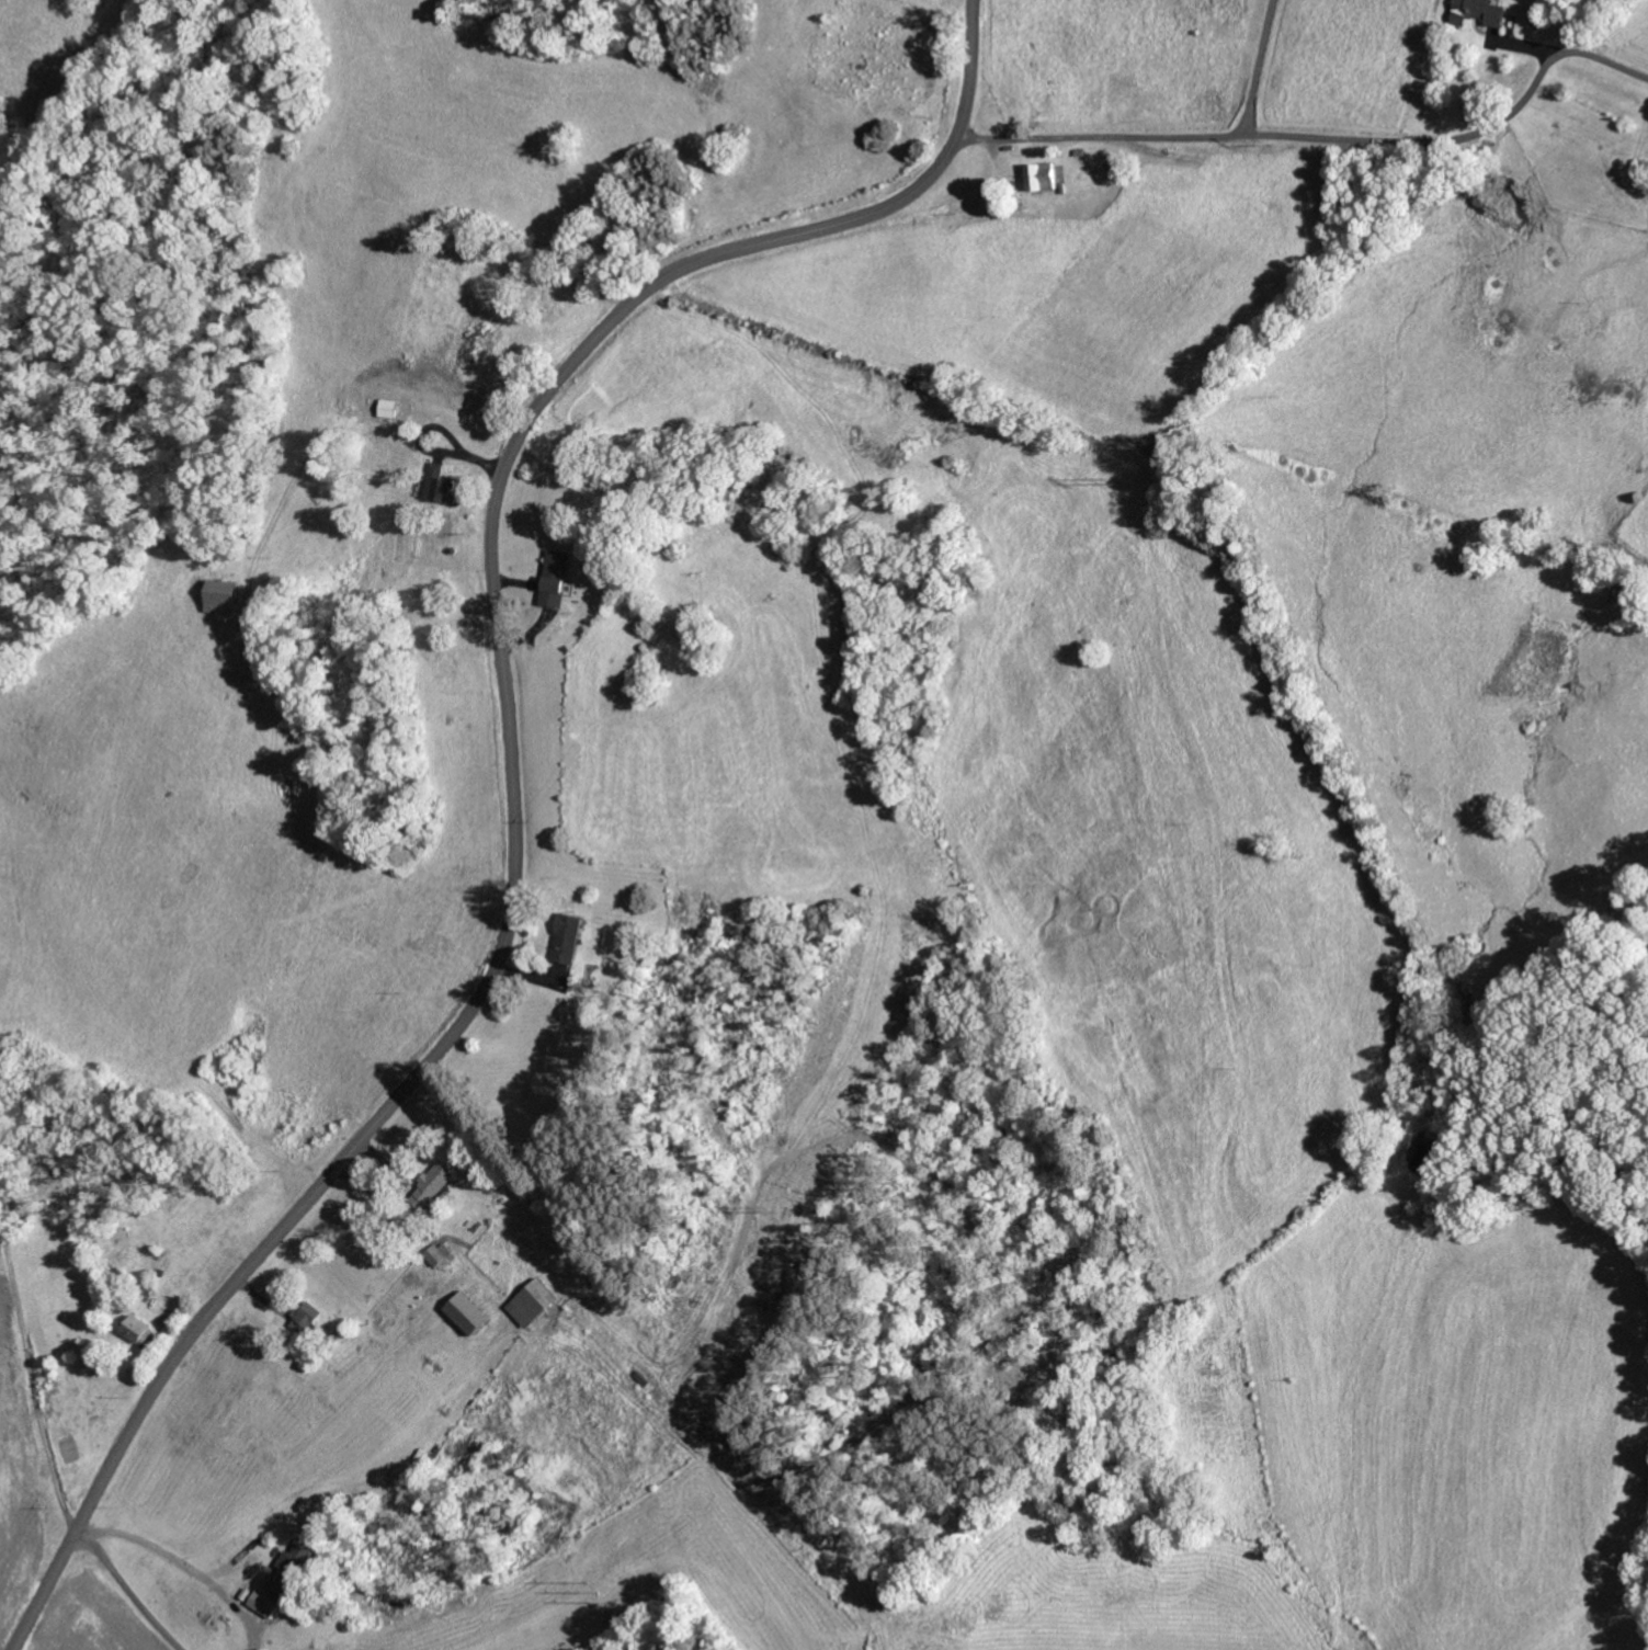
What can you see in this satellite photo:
building: (1480, 11)
road: (1318, 137)
power tower: (1264, 146)
building: (1043, 175)
building: (388, 407)
power tower: (1109, 479)
building: (442, 485)
building: (559, 577)
building: (225, 596)
road: (510, 776)
building: (570, 937)
building: (441, 1177)
power tower: (771, 1206)
building: (443, 1253)
building: (533, 1301)
building: (470, 1311)
building: (140, 1329)
road: (30, 1376)
building: (294, 1568)
road: (127, 1590)
power tower: (596, 1591)
building: (268, 1603)

